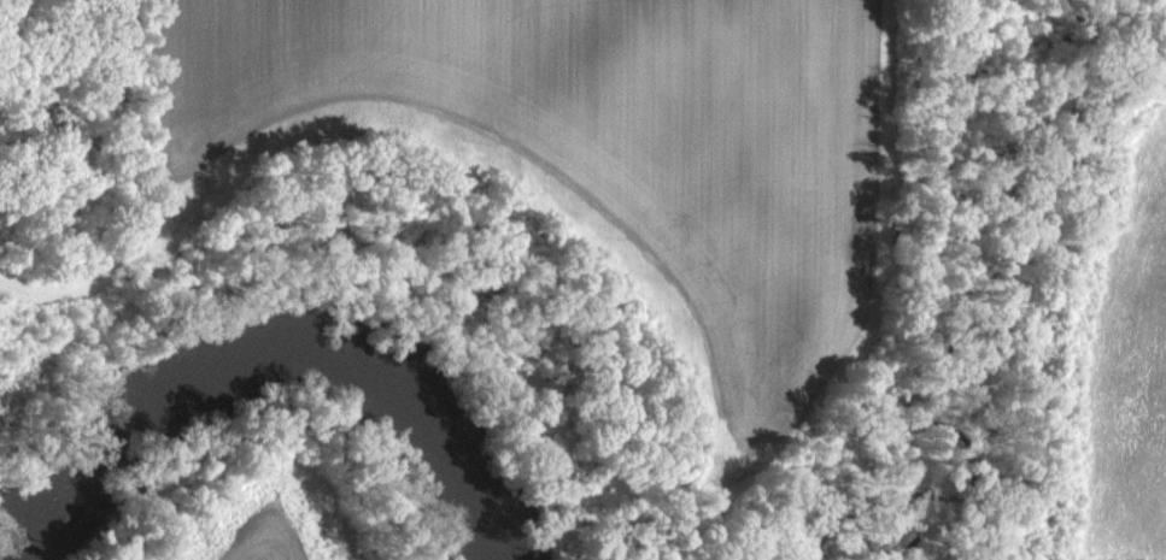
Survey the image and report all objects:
river: (262, 346)

